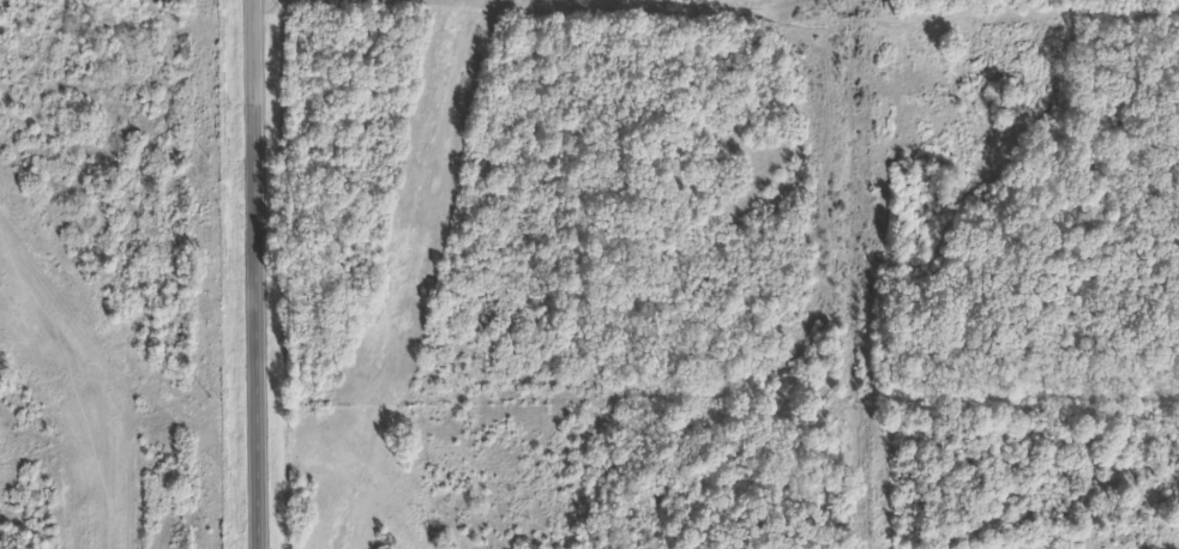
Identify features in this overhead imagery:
road: (254, 274)

